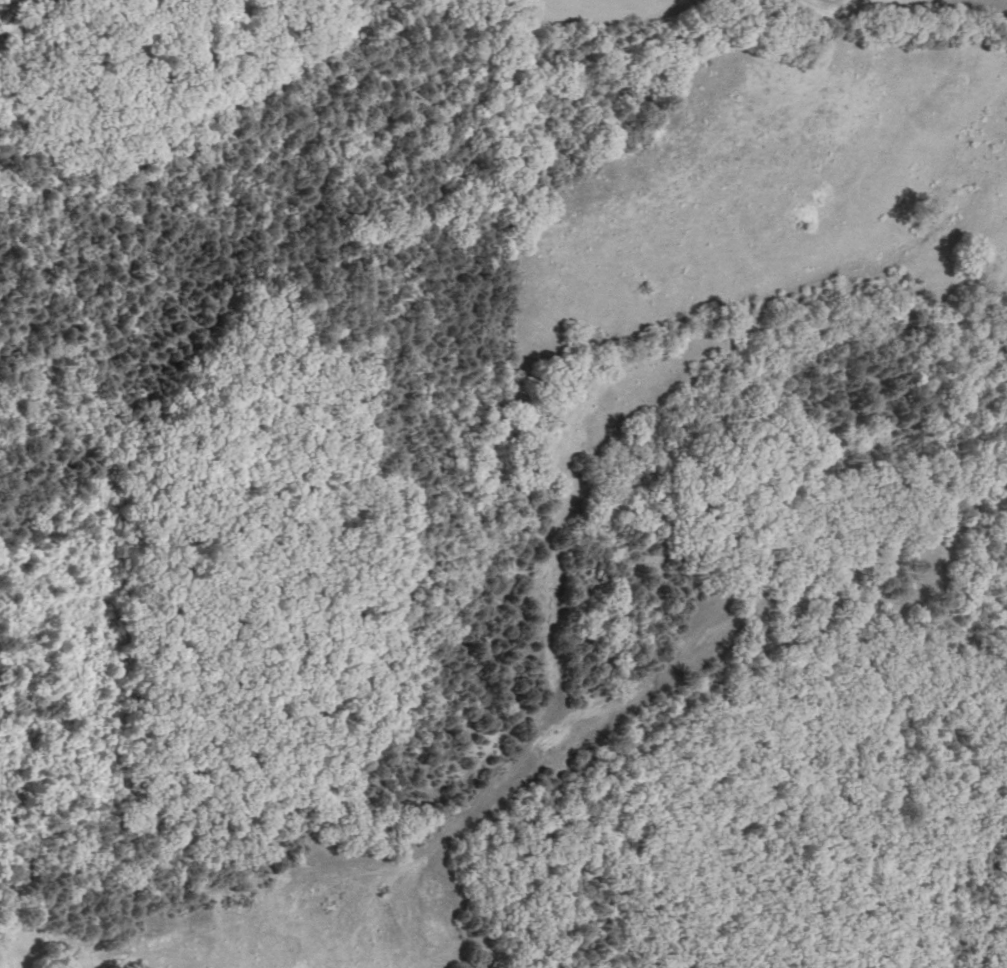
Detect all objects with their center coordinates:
road: (5, 8)

